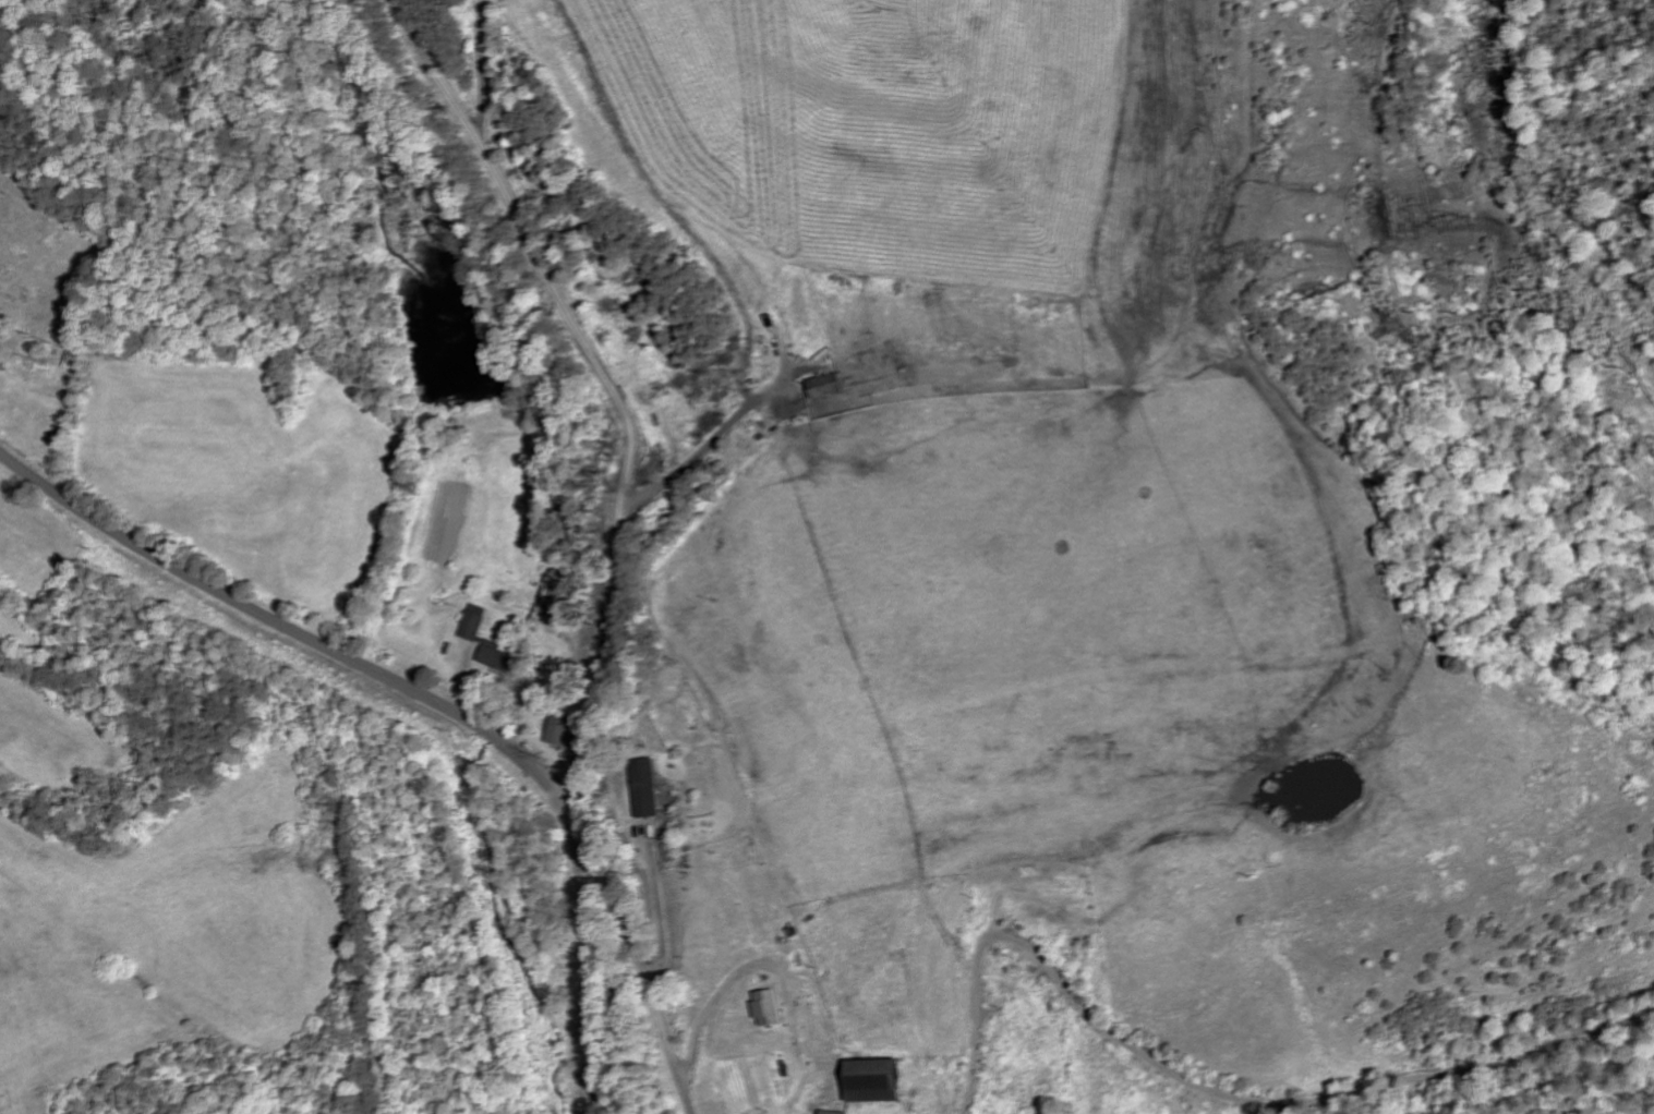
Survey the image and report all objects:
road: (608, 382)
building: (823, 387)
building: (473, 623)
building: (496, 659)
road: (423, 697)
building: (562, 732)
building: (647, 789)
road: (647, 972)
building: (764, 1008)
building: (867, 1081)
road: (1210, 1091)
building: (828, 1113)

